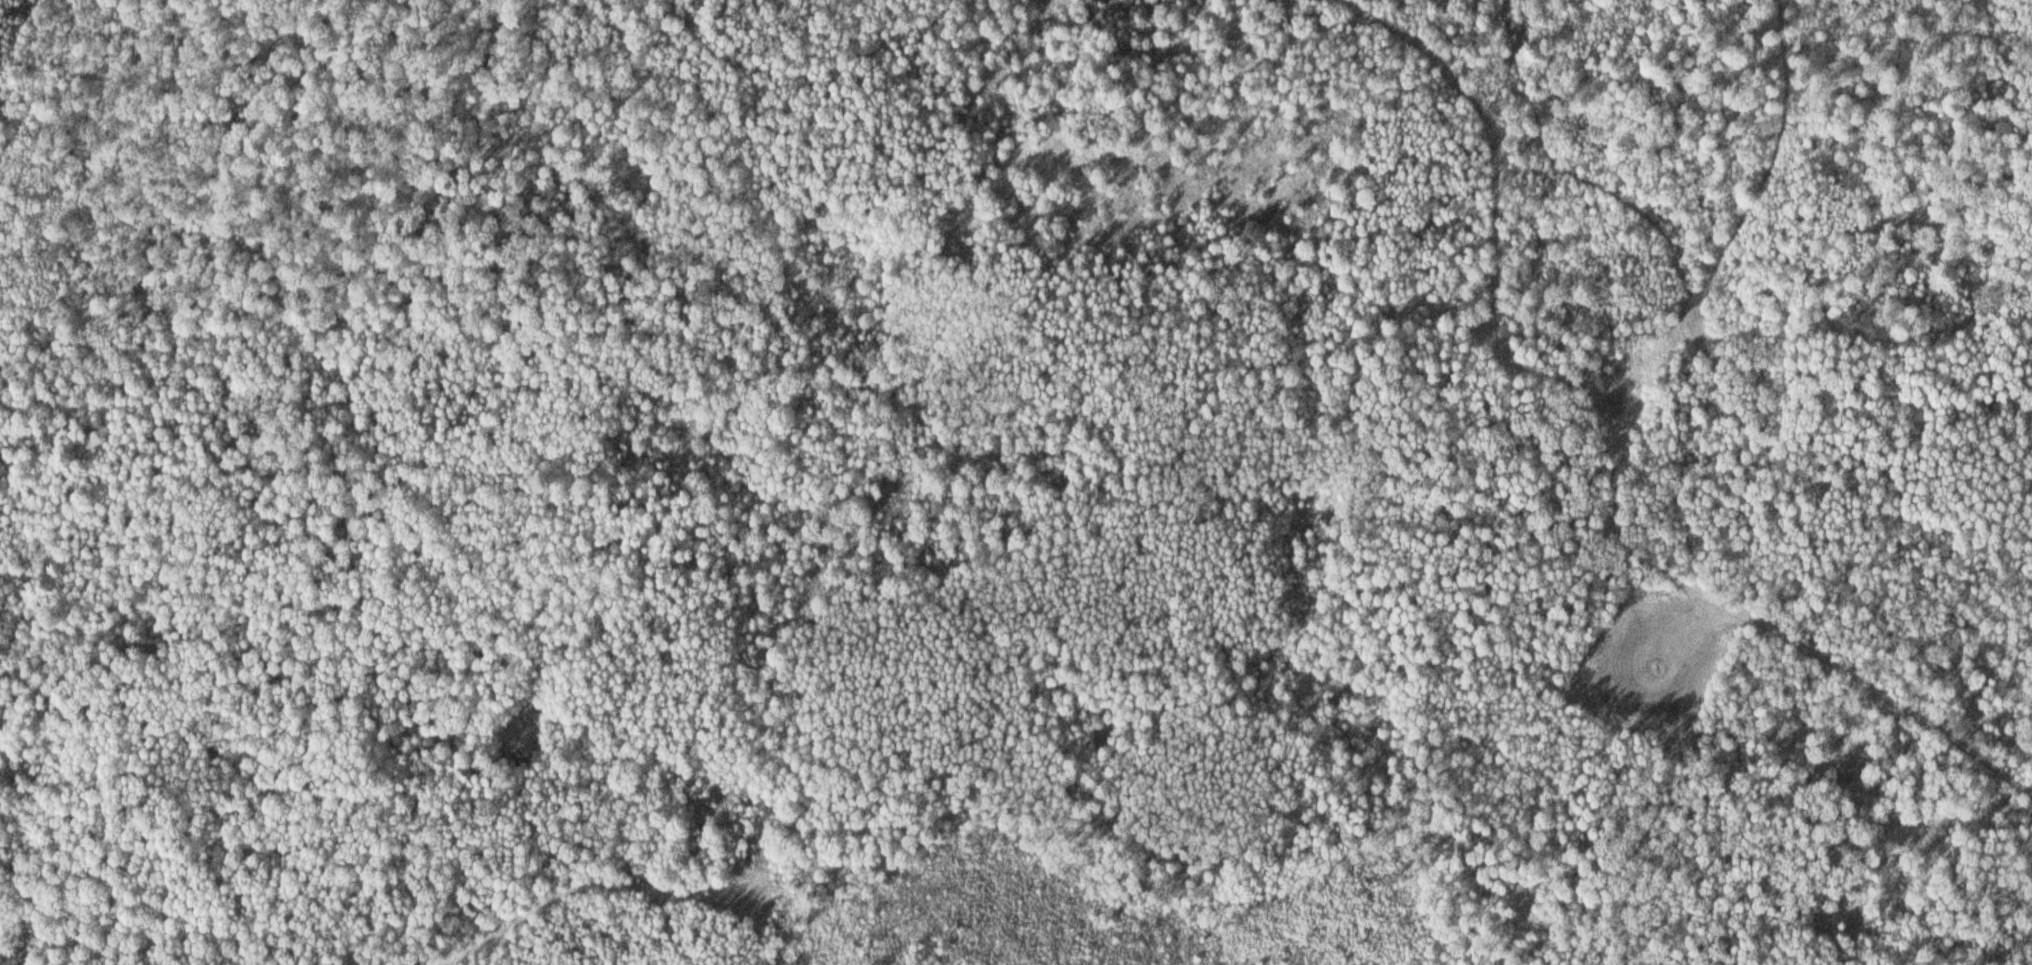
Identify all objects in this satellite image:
road: (1519, 38)
road: (1486, 202)
road: (1663, 573)

